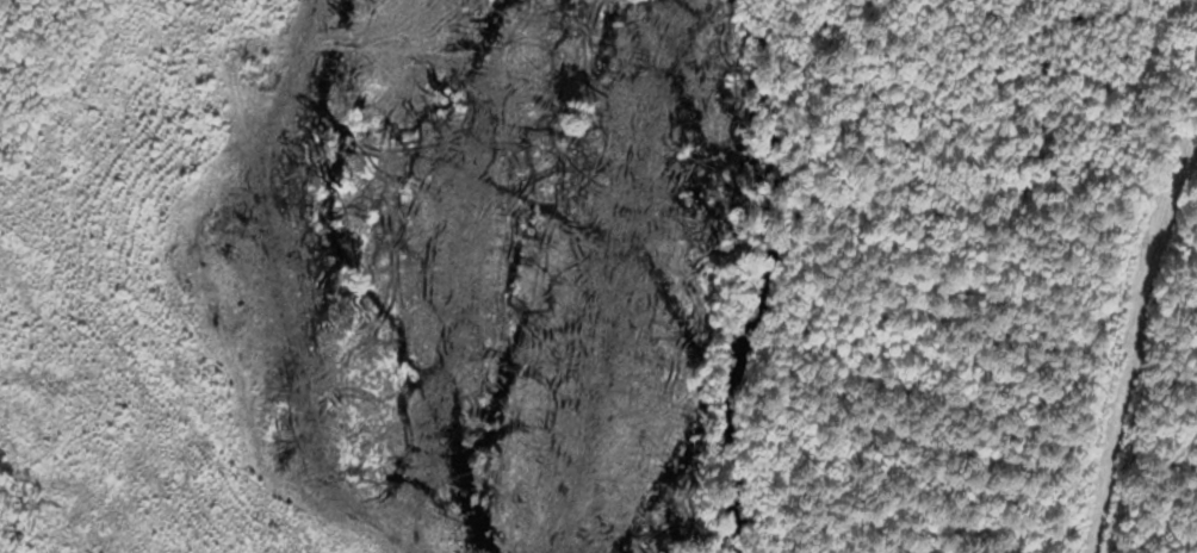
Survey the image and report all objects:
road: (1123, 274)

